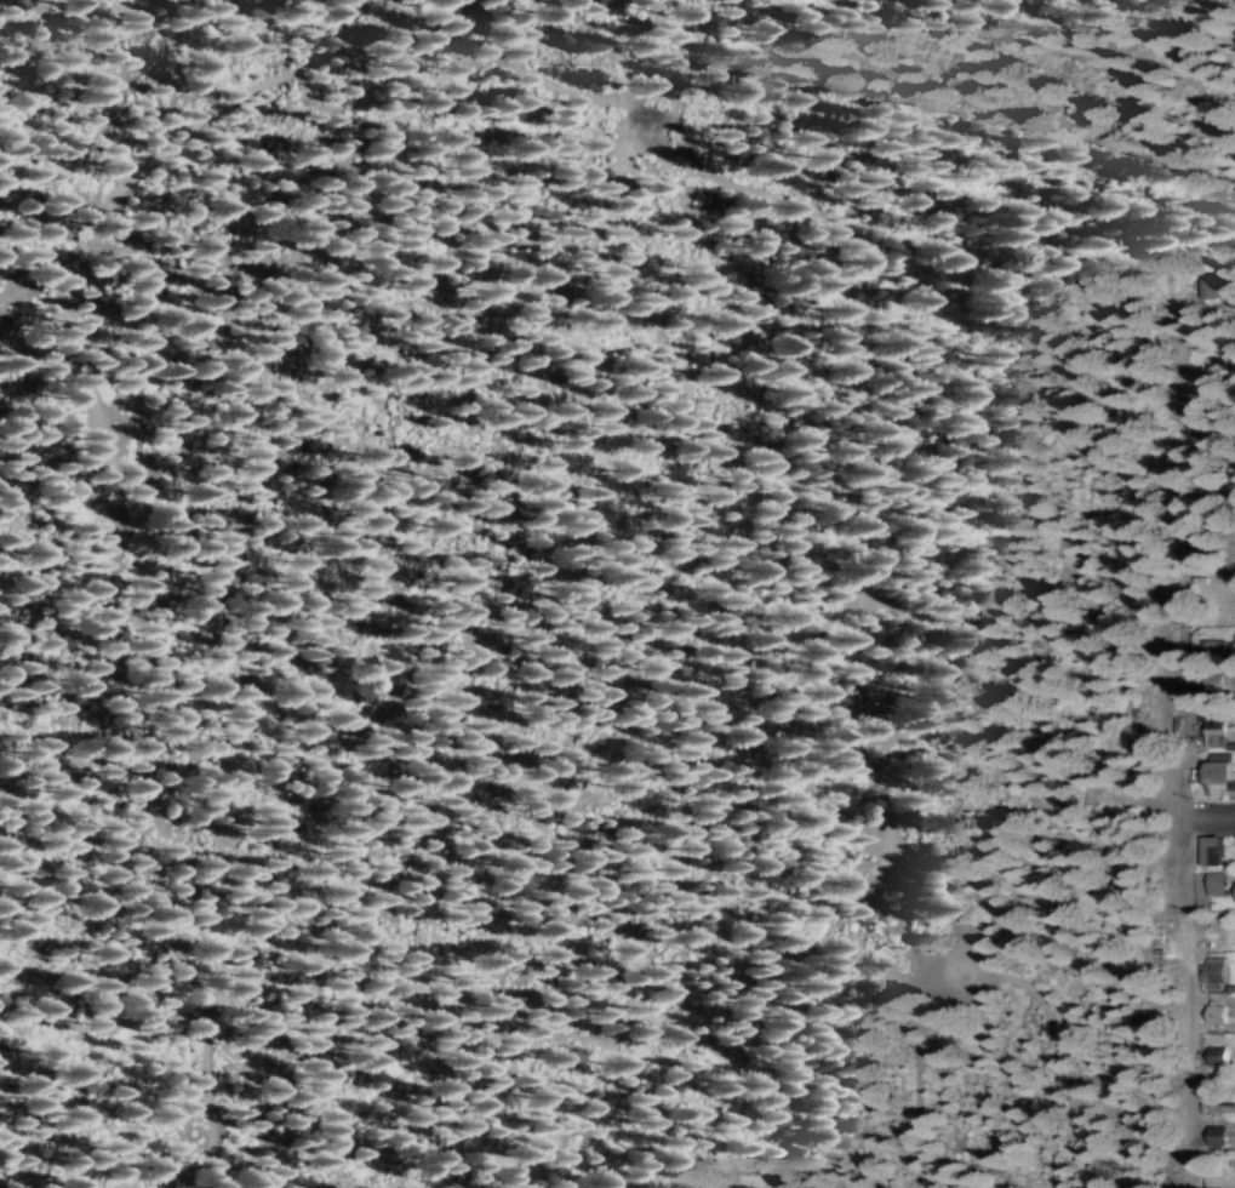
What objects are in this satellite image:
building: (1218, 285)
building: (1214, 727)
building: (1220, 770)
road: (1212, 813)
building: (1213, 849)
building: (1216, 881)
building: (1213, 967)
building: (1216, 1016)
road: (1053, 1046)
building: (1220, 1107)
building: (1217, 1133)
road: (1171, 1155)

